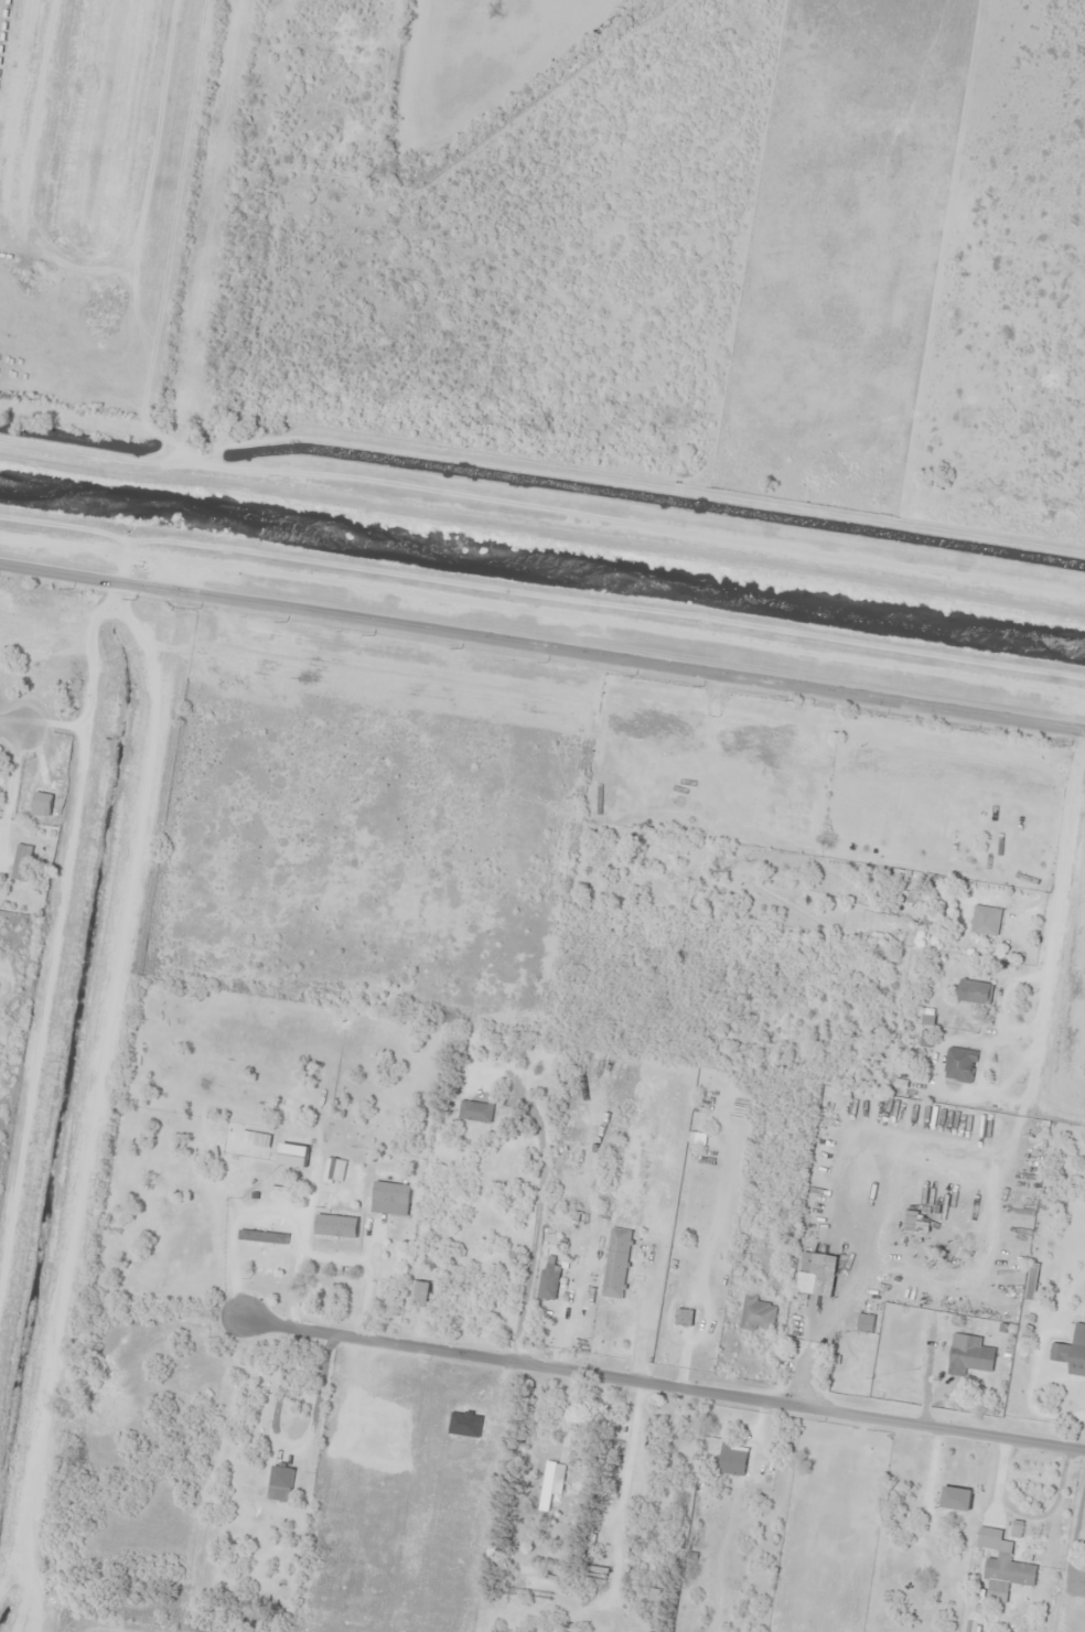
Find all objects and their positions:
road: (540, 623)
road: (10, 722)
railway: (144, 816)
road: (877, 839)
building: (21, 862)
building: (985, 921)
building: (978, 992)
building: (959, 1065)
building: (474, 1113)
building: (255, 1139)
building: (292, 1156)
building: (333, 1171)
building: (282, 1194)
building: (262, 1237)
building: (616, 1264)
building: (816, 1275)
road: (784, 1293)
building: (419, 1295)
building: (758, 1314)
building: (863, 1323)
building: (968, 1355)
road: (632, 1381)
building: (730, 1468)
building: (280, 1483)
building: (550, 1483)
building: (955, 1500)
building: (1009, 1572)

